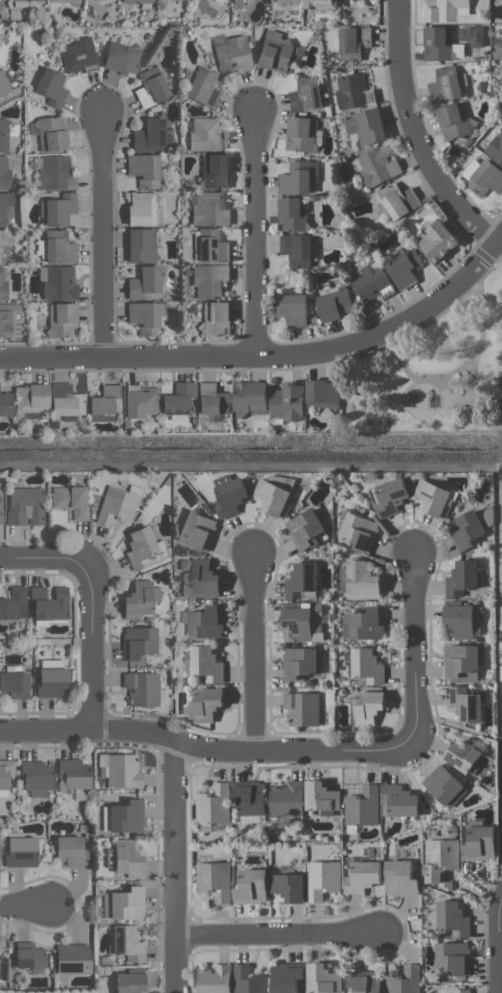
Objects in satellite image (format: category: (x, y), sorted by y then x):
building: (24, 0)
building: (57, 0)
building: (137, 1)
building: (286, 2)
building: (321, 4)
building: (448, 10)
building: (354, 42)
building: (441, 44)
building: (230, 53)
building: (78, 55)
building: (275, 55)
building: (122, 56)
building: (501, 67)
building: (445, 85)
building: (50, 87)
building: (150, 87)
building: (202, 87)
building: (7, 88)
building: (353, 91)
building: (306, 94)
building: (456, 121)
building: (366, 126)
building: (51, 133)
building: (203, 133)
building: (3, 134)
building: (301, 134)
road: (415, 135)
building: (151, 136)
building: (496, 148)
building: (376, 166)
building: (143, 170)
building: (214, 171)
building: (52, 172)
building: (4, 174)
building: (297, 177)
building: (485, 178)
building: (398, 200)
building: (4, 204)
building: (141, 208)
building: (57, 209)
building: (208, 209)
road: (102, 235)
road: (253, 236)
building: (437, 241)
building: (142, 245)
building: (210, 246)
building: (296, 249)
building: (59, 251)
building: (3, 254)
building: (403, 266)
building: (209, 281)
building: (144, 282)
building: (371, 282)
building: (58, 283)
building: (2, 286)
building: (336, 306)
building: (292, 308)
building: (143, 318)
building: (215, 319)
building: (61, 320)
building: (10, 321)
road: (270, 355)
road: (459, 369)
park: (434, 371)
park: (499, 389)
building: (324, 394)
road: (485, 395)
building: (250, 396)
building: (211, 399)
building: (30, 400)
building: (65, 400)
building: (104, 400)
building: (139, 400)
building: (177, 401)
road: (473, 401)
building: (289, 402)
building: (4, 404)
building: (101, 417)
road: (500, 425)
road: (501, 451)
road: (501, 479)
building: (231, 497)
building: (273, 497)
building: (434, 497)
building: (70, 500)
building: (24, 506)
building: (115, 506)
building: (0, 516)
building: (305, 529)
building: (465, 529)
building: (196, 530)
building: (359, 531)
building: (139, 547)
road: (42, 559)
building: (198, 578)
building: (462, 578)
building: (363, 579)
building: (301, 580)
building: (139, 599)
building: (13, 604)
building: (48, 604)
building: (464, 620)
building: (207, 622)
building: (302, 622)
building: (367, 623)
road: (92, 642)
building: (139, 642)
road: (414, 654)
road: (253, 656)
building: (462, 659)
building: (301, 662)
building: (206, 663)
building: (367, 666)
building: (52, 682)
building: (14, 684)
building: (140, 688)
building: (205, 704)
building: (466, 704)
building: (302, 708)
road: (205, 748)
building: (465, 755)
building: (122, 771)
building: (73, 773)
building: (5, 775)
building: (35, 777)
building: (444, 786)
building: (322, 797)
building: (251, 798)
building: (398, 801)
building: (287, 802)
building: (214, 804)
building: (362, 806)
building: (122, 817)
building: (480, 843)
building: (21, 851)
building: (70, 851)
building: (108, 858)
building: (127, 859)
building: (440, 860)
road: (173, 865)
building: (363, 876)
building: (400, 878)
building: (322, 879)
building: (215, 881)
building: (288, 886)
building: (252, 887)
building: (126, 903)
road: (21, 908)
building: (452, 918)
road: (279, 933)
building: (126, 943)
building: (0, 944)
road: (499, 945)
building: (28, 956)
building: (454, 957)
building: (72, 958)
building: (286, 977)
building: (323, 978)
building: (215, 979)
building: (249, 980)
building: (405, 980)
building: (129, 982)
building: (366, 982)
building: (462, 991)

